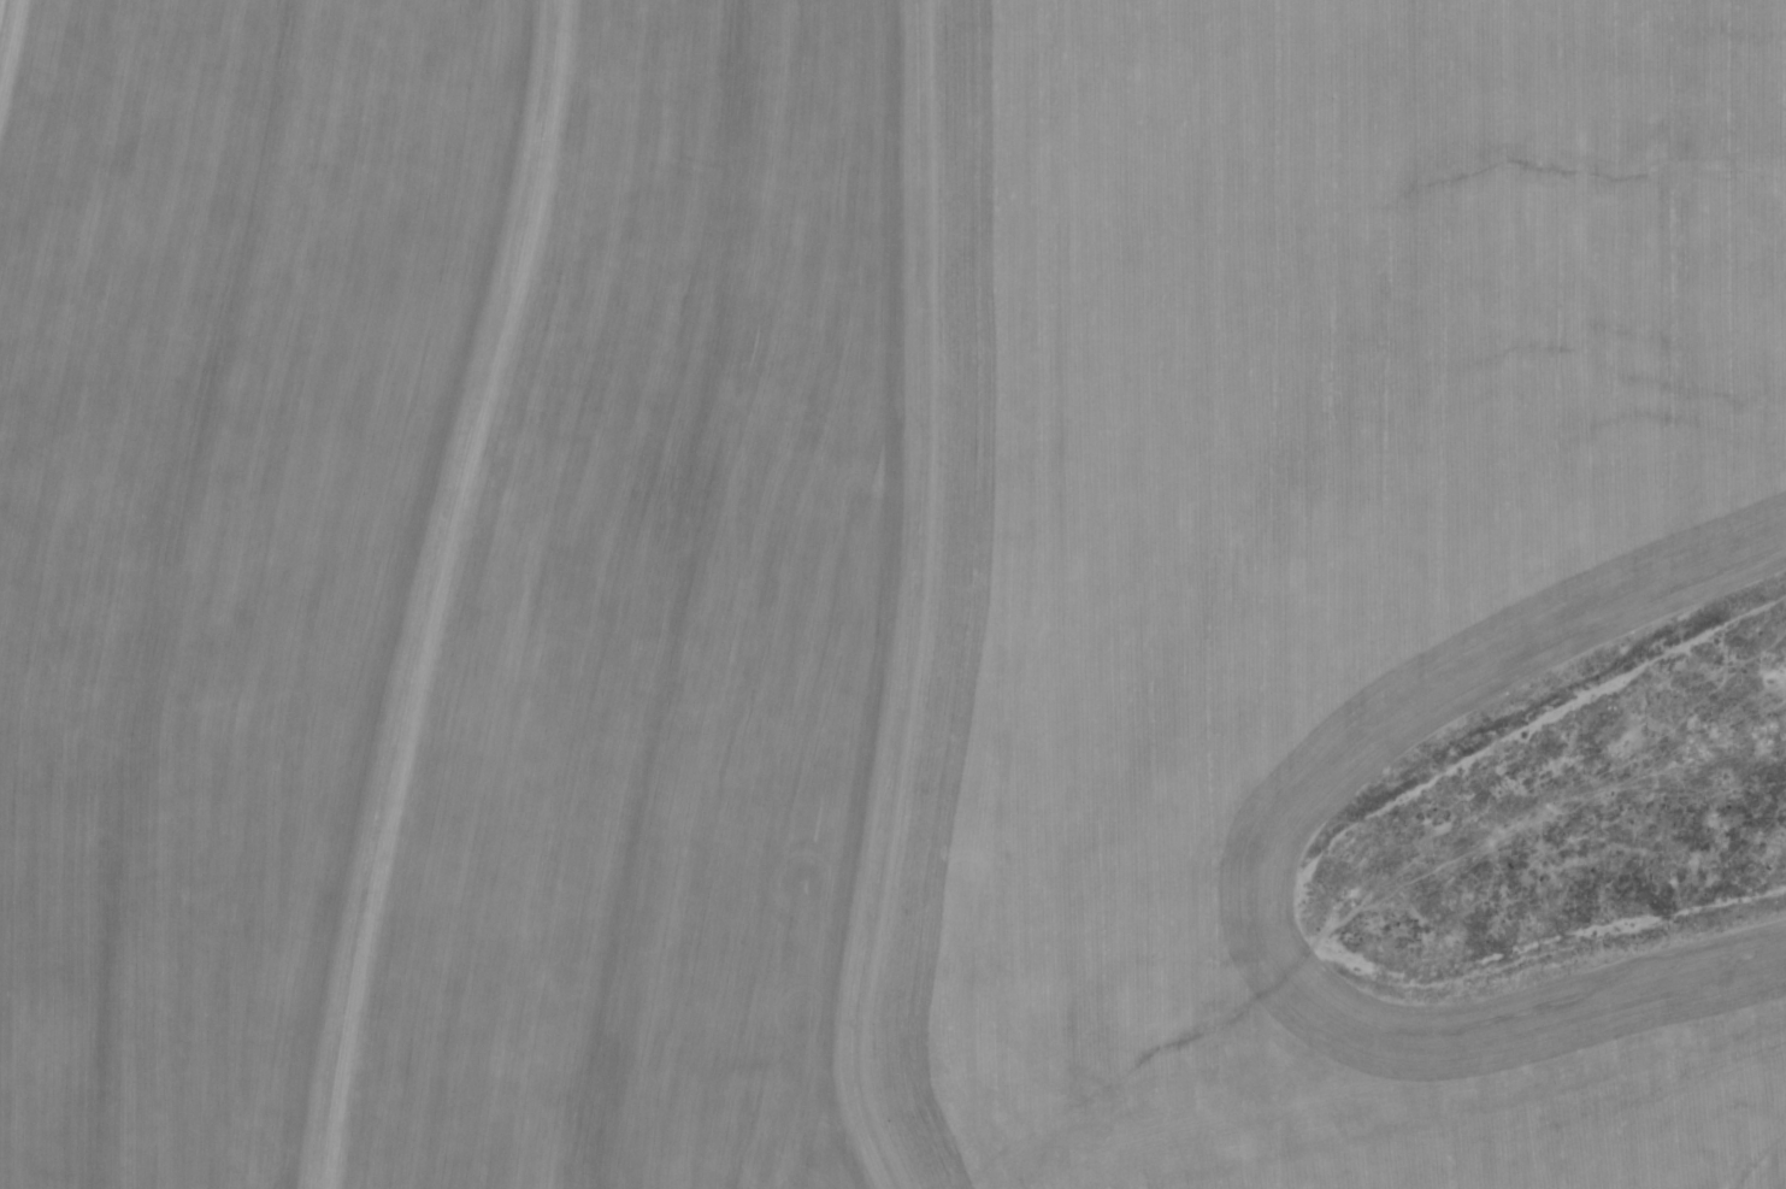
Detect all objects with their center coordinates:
crop: (892, 594)

